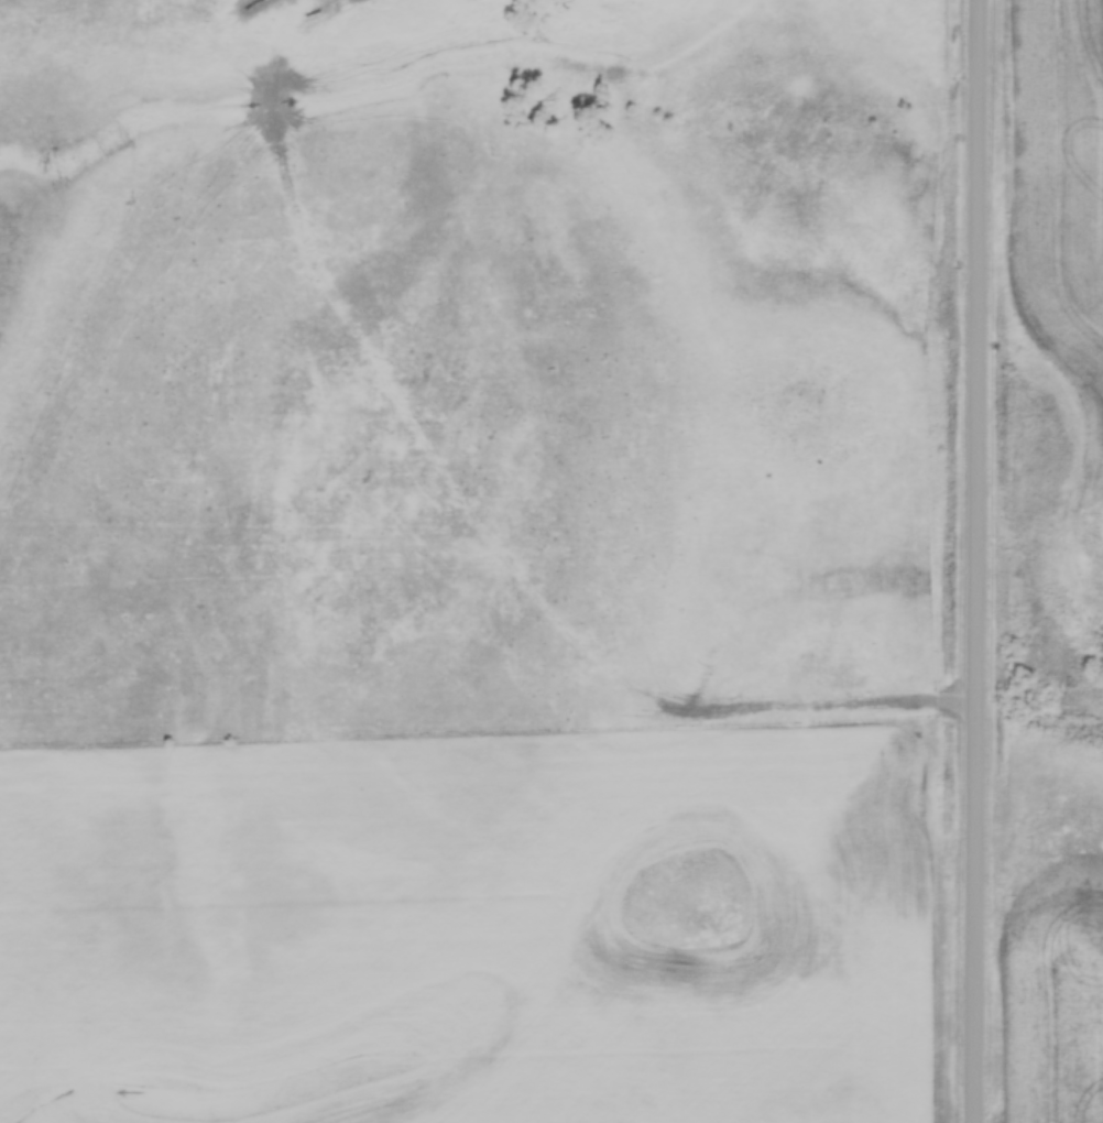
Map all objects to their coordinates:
road: (973, 560)

